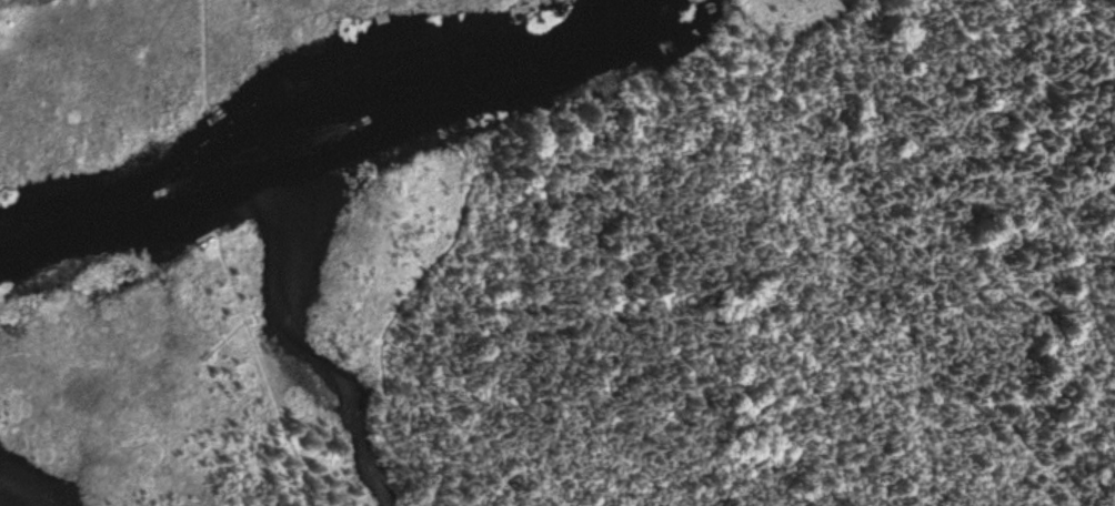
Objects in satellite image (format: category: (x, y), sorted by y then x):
road: (553, 110)
road: (566, 114)
road: (543, 118)
road: (673, 125)
river: (321, 131)
pier: (208, 232)
road: (224, 337)
road: (262, 368)

